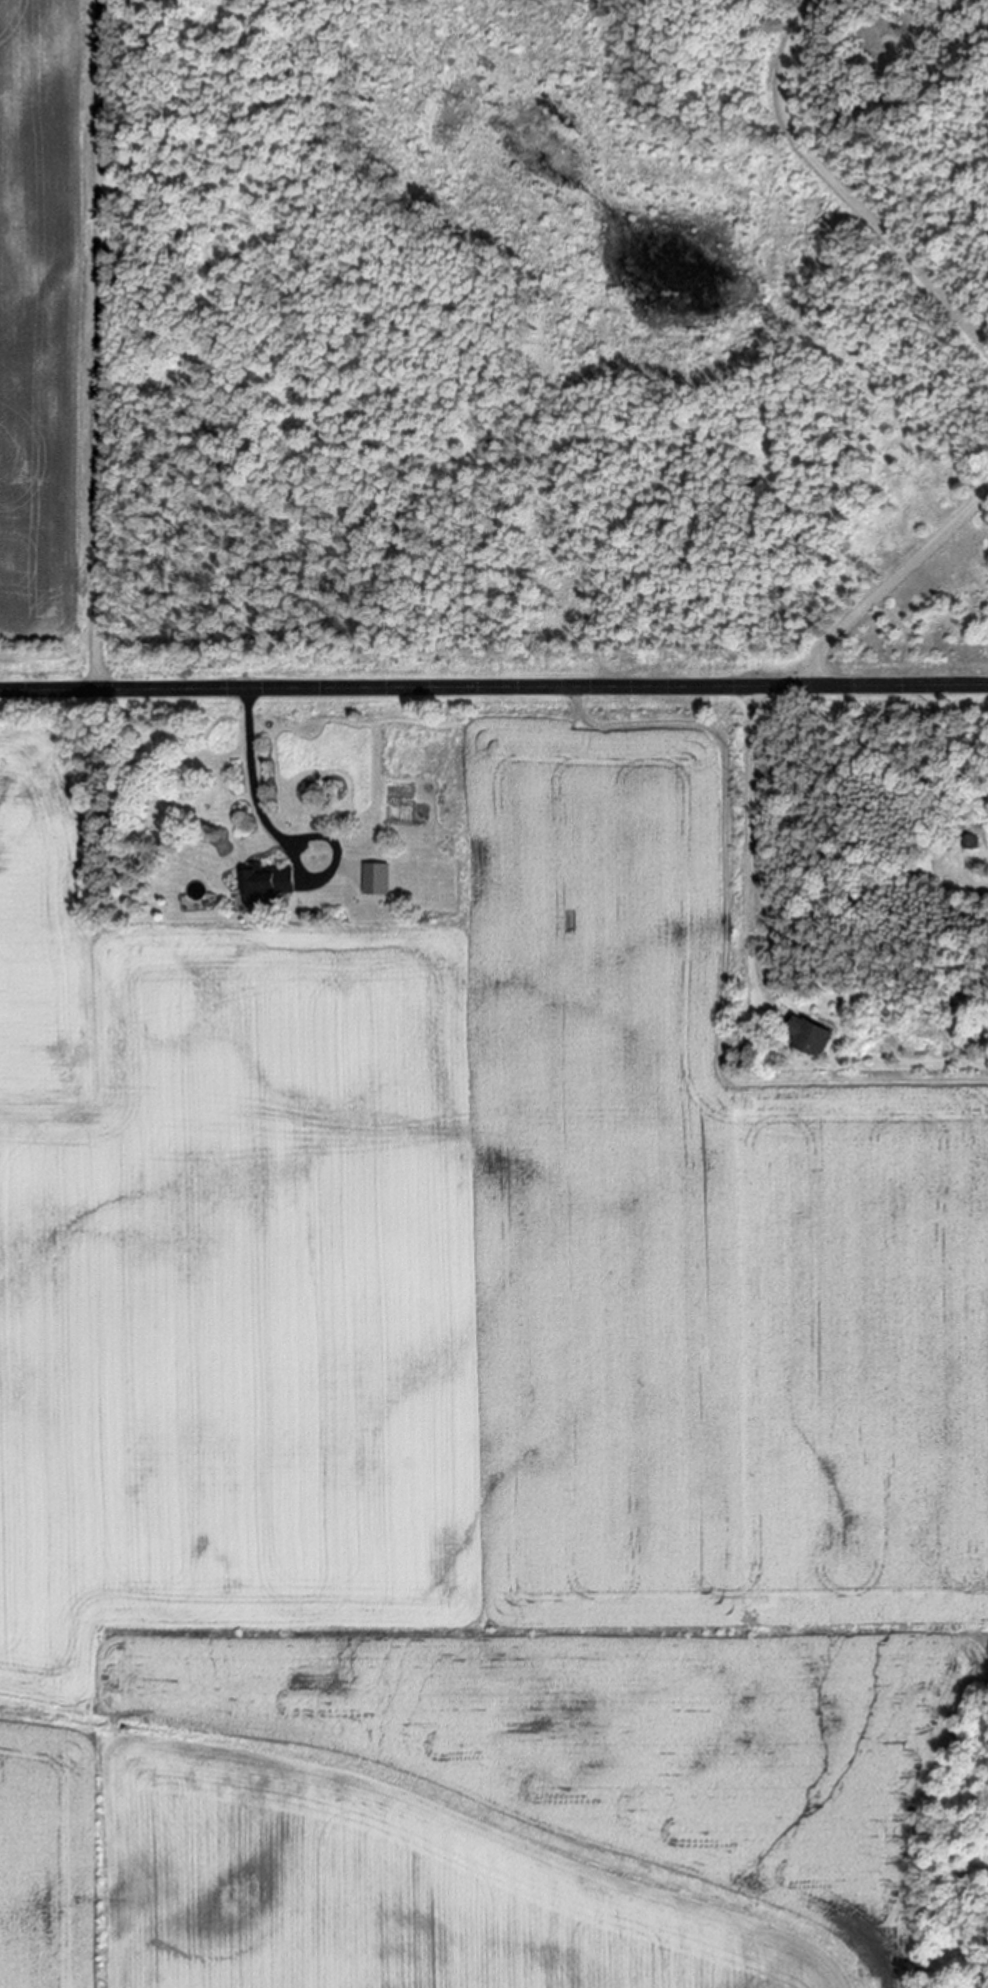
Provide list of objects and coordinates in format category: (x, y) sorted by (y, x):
road: (839, 189)
road: (100, 345)
road: (892, 584)
road: (493, 687)
road: (264, 812)
road: (751, 840)
building: (375, 879)
building: (806, 1035)

